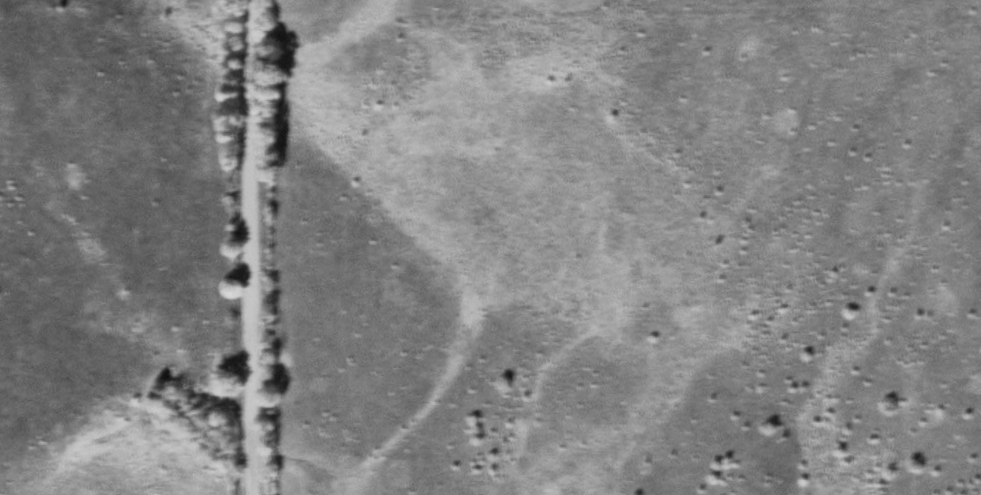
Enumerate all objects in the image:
road: (250, 247)

